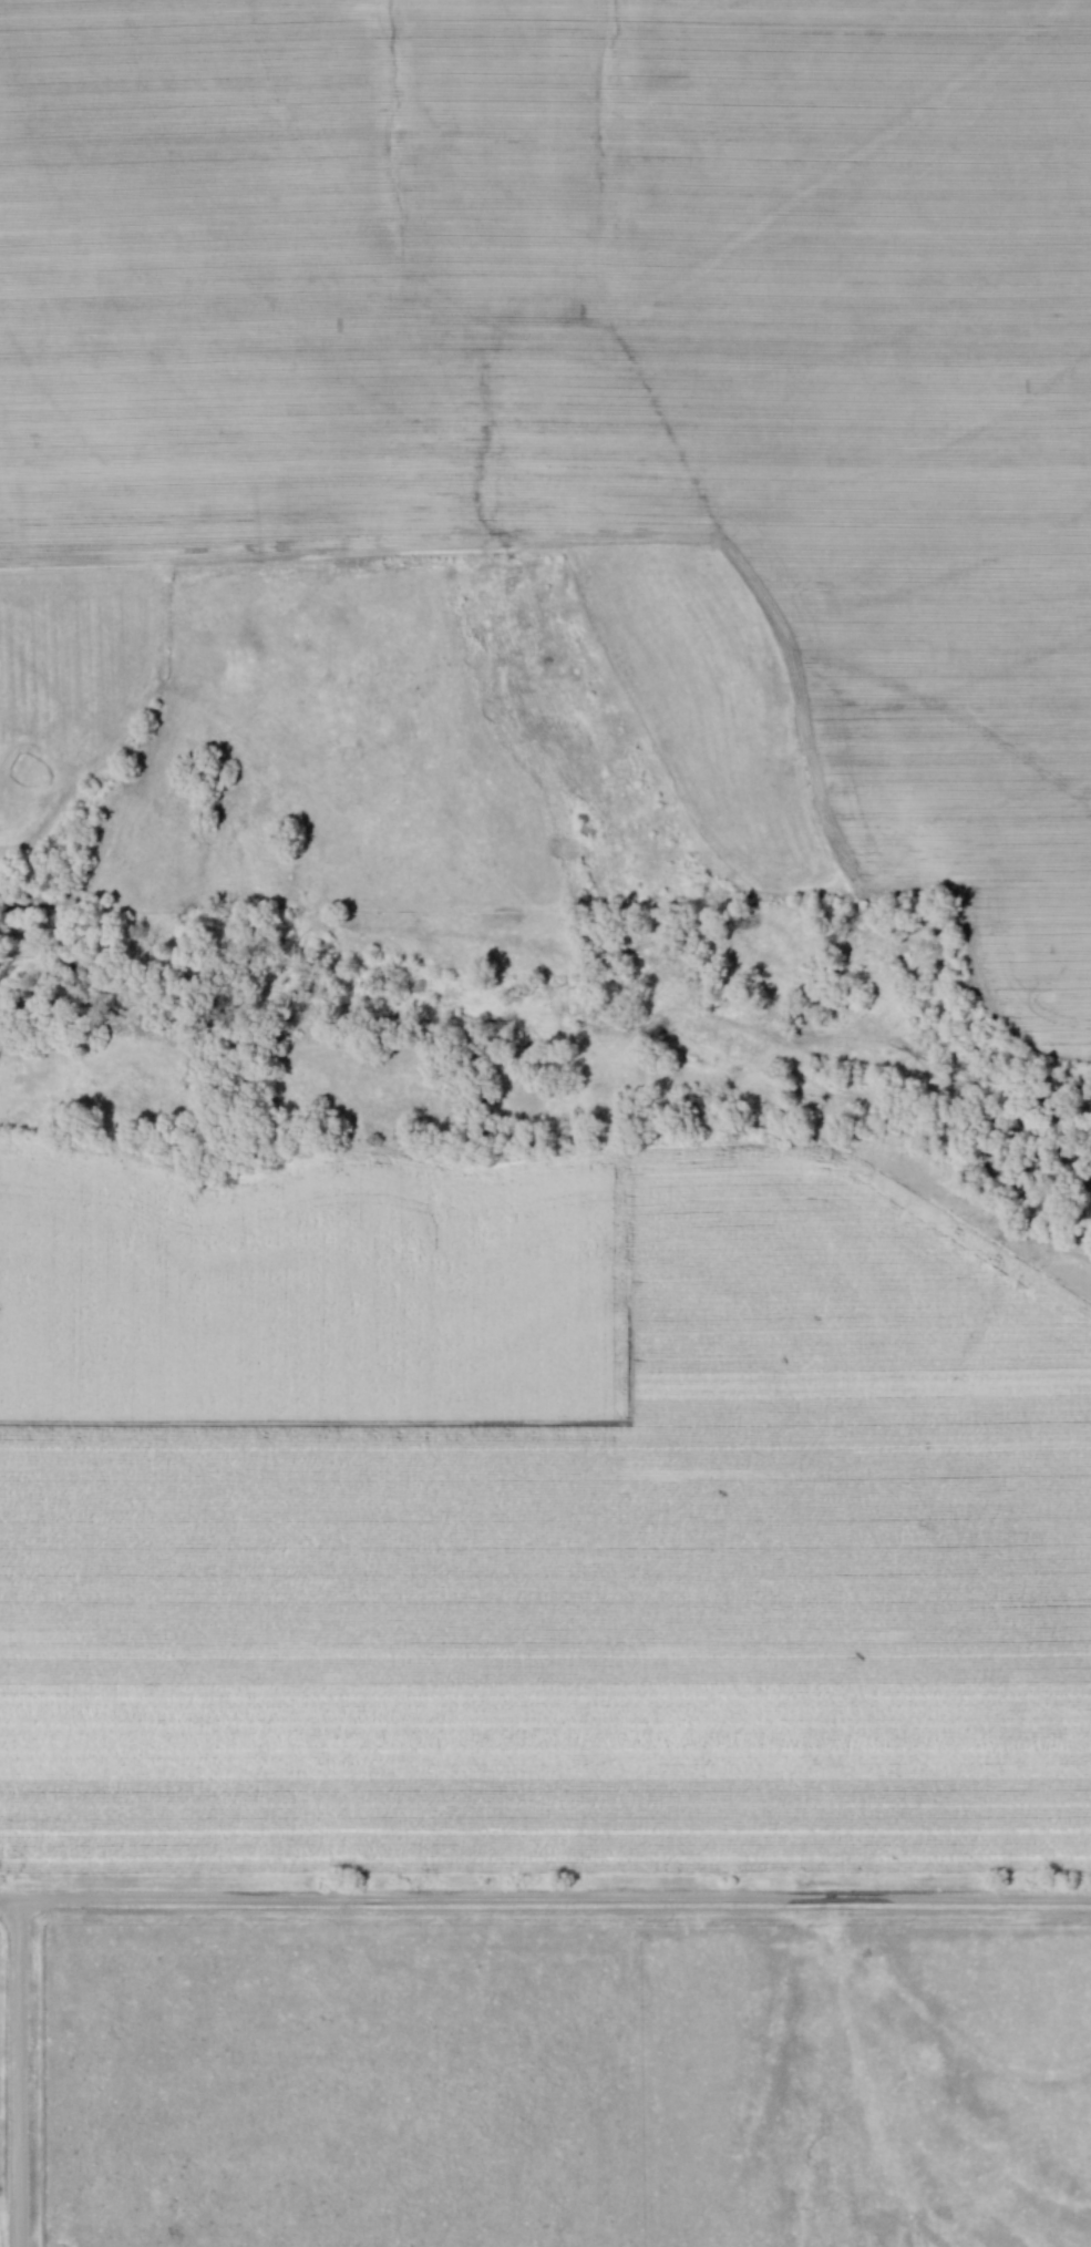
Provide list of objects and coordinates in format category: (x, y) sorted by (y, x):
road: (545, 1906)
road: (13, 2076)

